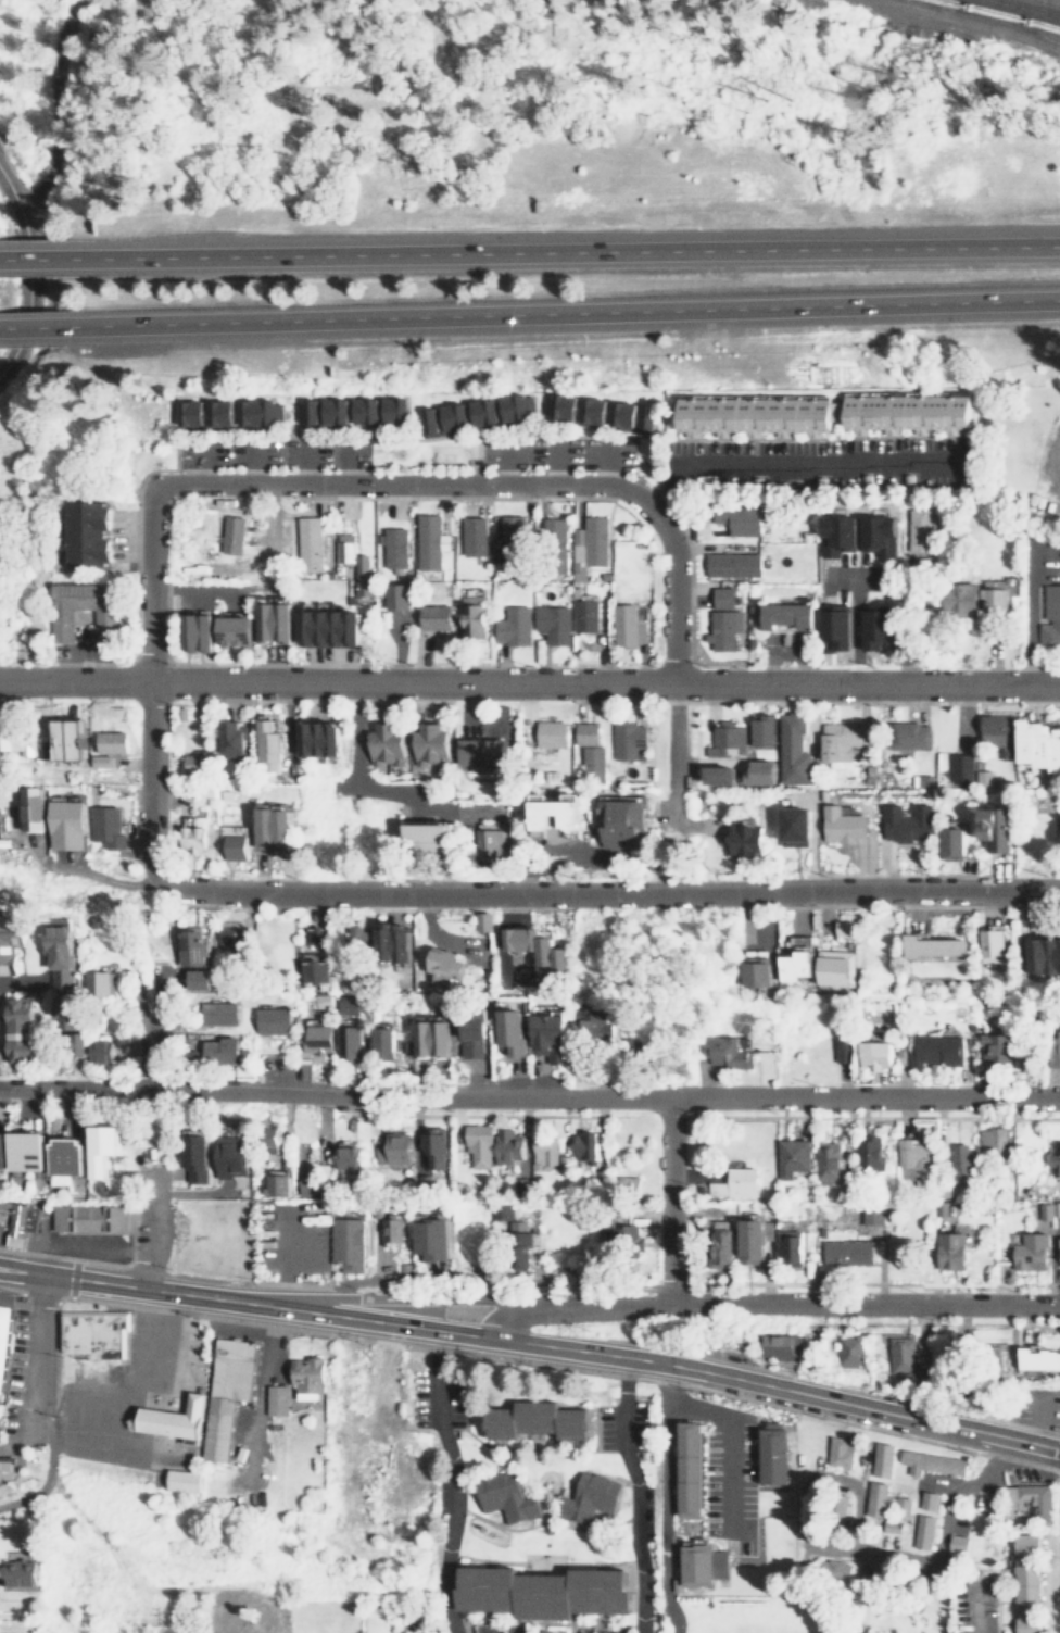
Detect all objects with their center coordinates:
railway: (1025, 9)
railway: (1000, 14)
railway: (1005, 18)
park: (201, 20)
road: (52, 106)
road: (564, 248)
road: (34, 257)
road: (26, 271)
road: (567, 311)
road: (37, 327)
building: (903, 410)
building: (348, 412)
building: (591, 412)
building: (225, 413)
building: (749, 413)
building: (466, 414)
road: (202, 461)
road: (253, 461)
road: (505, 461)
road: (555, 461)
road: (607, 461)
road: (306, 462)
road: (345, 462)
road: (796, 463)
road: (408, 482)
road: (1052, 487)
building: (735, 515)
building: (916, 529)
building: (83, 533)
building: (230, 535)
building: (835, 535)
building: (872, 536)
building: (474, 537)
building: (428, 540)
building: (510, 540)
building: (594, 541)
building: (308, 544)
building: (551, 544)
building: (342, 548)
building: (393, 548)
building: (731, 563)
building: (362, 575)
road: (151, 581)
road: (215, 593)
road: (673, 594)
building: (721, 595)
building: (394, 596)
building: (993, 600)
building: (955, 603)
road: (1023, 610)
building: (470, 612)
building: (582, 614)
building: (783, 615)
building: (432, 617)
road: (900, 619)
road: (861, 620)
building: (1048, 621)
building: (273, 623)
building: (551, 623)
building: (58, 625)
building: (626, 625)
building: (513, 626)
building: (723, 627)
building: (326, 628)
building: (835, 628)
building: (876, 628)
building: (193, 632)
building: (235, 632)
parking lot: (779, 642)
road: (784, 649)
road: (529, 681)
building: (201, 711)
building: (179, 713)
road: (467, 719)
building: (629, 723)
parking lot: (481, 725)
building: (767, 728)
building: (547, 733)
building: (228, 734)
building: (905, 734)
building: (993, 734)
road: (350, 736)
building: (583, 736)
building: (316, 737)
building: (14, 738)
building: (626, 738)
building: (64, 739)
building: (840, 739)
building: (108, 740)
building: (264, 740)
building: (724, 740)
building: (383, 742)
building: (1036, 742)
building: (427, 743)
building: (791, 748)
building: (480, 751)
building: (97, 761)
road: (707, 762)
building: (190, 764)
building: (589, 765)
building: (957, 769)
building: (761, 771)
building: (724, 772)
building: (983, 778)
building: (617, 779)
road: (669, 781)
road: (152, 784)
road: (412, 802)
building: (33, 808)
building: (551, 817)
building: (620, 821)
building: (66, 825)
building: (790, 825)
building: (106, 826)
building: (269, 826)
building: (842, 826)
building: (990, 826)
building: (906, 827)
building: (434, 831)
building: (1057, 836)
building: (191, 838)
building: (742, 841)
building: (948, 841)
building: (485, 843)
building: (231, 847)
road: (591, 861)
road: (560, 893)
building: (480, 920)
building: (841, 928)
building: (513, 937)
building: (230, 938)
building: (353, 938)
building: (306, 939)
building: (387, 940)
building: (10, 941)
building: (987, 944)
building: (929, 945)
building: (191, 946)
building: (1042, 954)
building: (546, 955)
building: (439, 962)
building: (792, 964)
building: (306, 967)
building: (830, 968)
building: (752, 972)
building: (200, 979)
building: (101, 983)
building: (321, 1001)
building: (351, 1006)
building: (219, 1013)
building: (273, 1020)
road: (153, 1028)
building: (597, 1029)
building: (18, 1030)
building: (513, 1031)
building: (551, 1035)
building: (430, 1037)
building: (317, 1038)
building: (474, 1038)
building: (349, 1041)
building: (75, 1044)
building: (383, 1044)
building: (995, 1047)
building: (219, 1050)
building: (842, 1050)
building: (1052, 1050)
building: (100, 1051)
building: (729, 1051)
building: (935, 1051)
building: (873, 1057)
road: (529, 1095)
building: (993, 1138)
building: (268, 1140)
building: (479, 1144)
building: (508, 1146)
building: (584, 1146)
building: (101, 1148)
building: (392, 1148)
building: (432, 1148)
building: (544, 1150)
building: (1, 1151)
building: (26, 1152)
building: (869, 1153)
building: (230, 1156)
building: (65, 1157)
building: (194, 1157)
building: (793, 1157)
building: (1056, 1158)
building: (349, 1159)
building: (960, 1159)
building: (829, 1163)
building: (742, 1182)
building: (277, 1185)
building: (717, 1188)
road: (668, 1201)
building: (1049, 1210)
building: (873, 1215)
building: (85, 1217)
road: (153, 1218)
building: (16, 1223)
building: (392, 1230)
parking lot: (1, 1234)
building: (627, 1234)
building: (427, 1238)
parking lot: (27, 1240)
building: (753, 1240)
building: (1058, 1242)
building: (343, 1244)
building: (519, 1245)
building: (720, 1246)
building: (787, 1246)
road: (84, 1247)
building: (951, 1251)
building: (847, 1252)
building: (1031, 1252)
road: (137, 1287)
road: (404, 1295)
road: (797, 1305)
road: (512, 1316)
road: (386, 1322)
building: (3, 1330)
building: (92, 1331)
building: (778, 1345)
road: (582, 1352)
building: (847, 1352)
road: (31, 1355)
building: (1034, 1358)
building: (904, 1365)
building: (1, 1372)
building: (304, 1377)
road: (730, 1378)
building: (224, 1392)
building: (274, 1398)
parking lot: (437, 1398)
building: (173, 1419)
road: (925, 1419)
building: (535, 1420)
road: (732, 1427)
road: (12, 1444)
building: (837, 1449)
building: (769, 1453)
building: (879, 1458)
building: (929, 1460)
building: (4, 1462)
building: (685, 1467)
building: (179, 1481)
road: (452, 1481)
building: (503, 1495)
road: (635, 1495)
building: (586, 1497)
building: (874, 1498)
building: (924, 1499)
building: (1023, 1504)
building: (898, 1512)
building: (920, 1531)
building: (956, 1543)
building: (699, 1563)
building: (835, 1568)
building: (15, 1573)
building: (1023, 1582)
building: (540, 1590)
road: (977, 1611)
parking lot: (485, 1628)
parking lot: (594, 1630)
building: (542, 1631)

